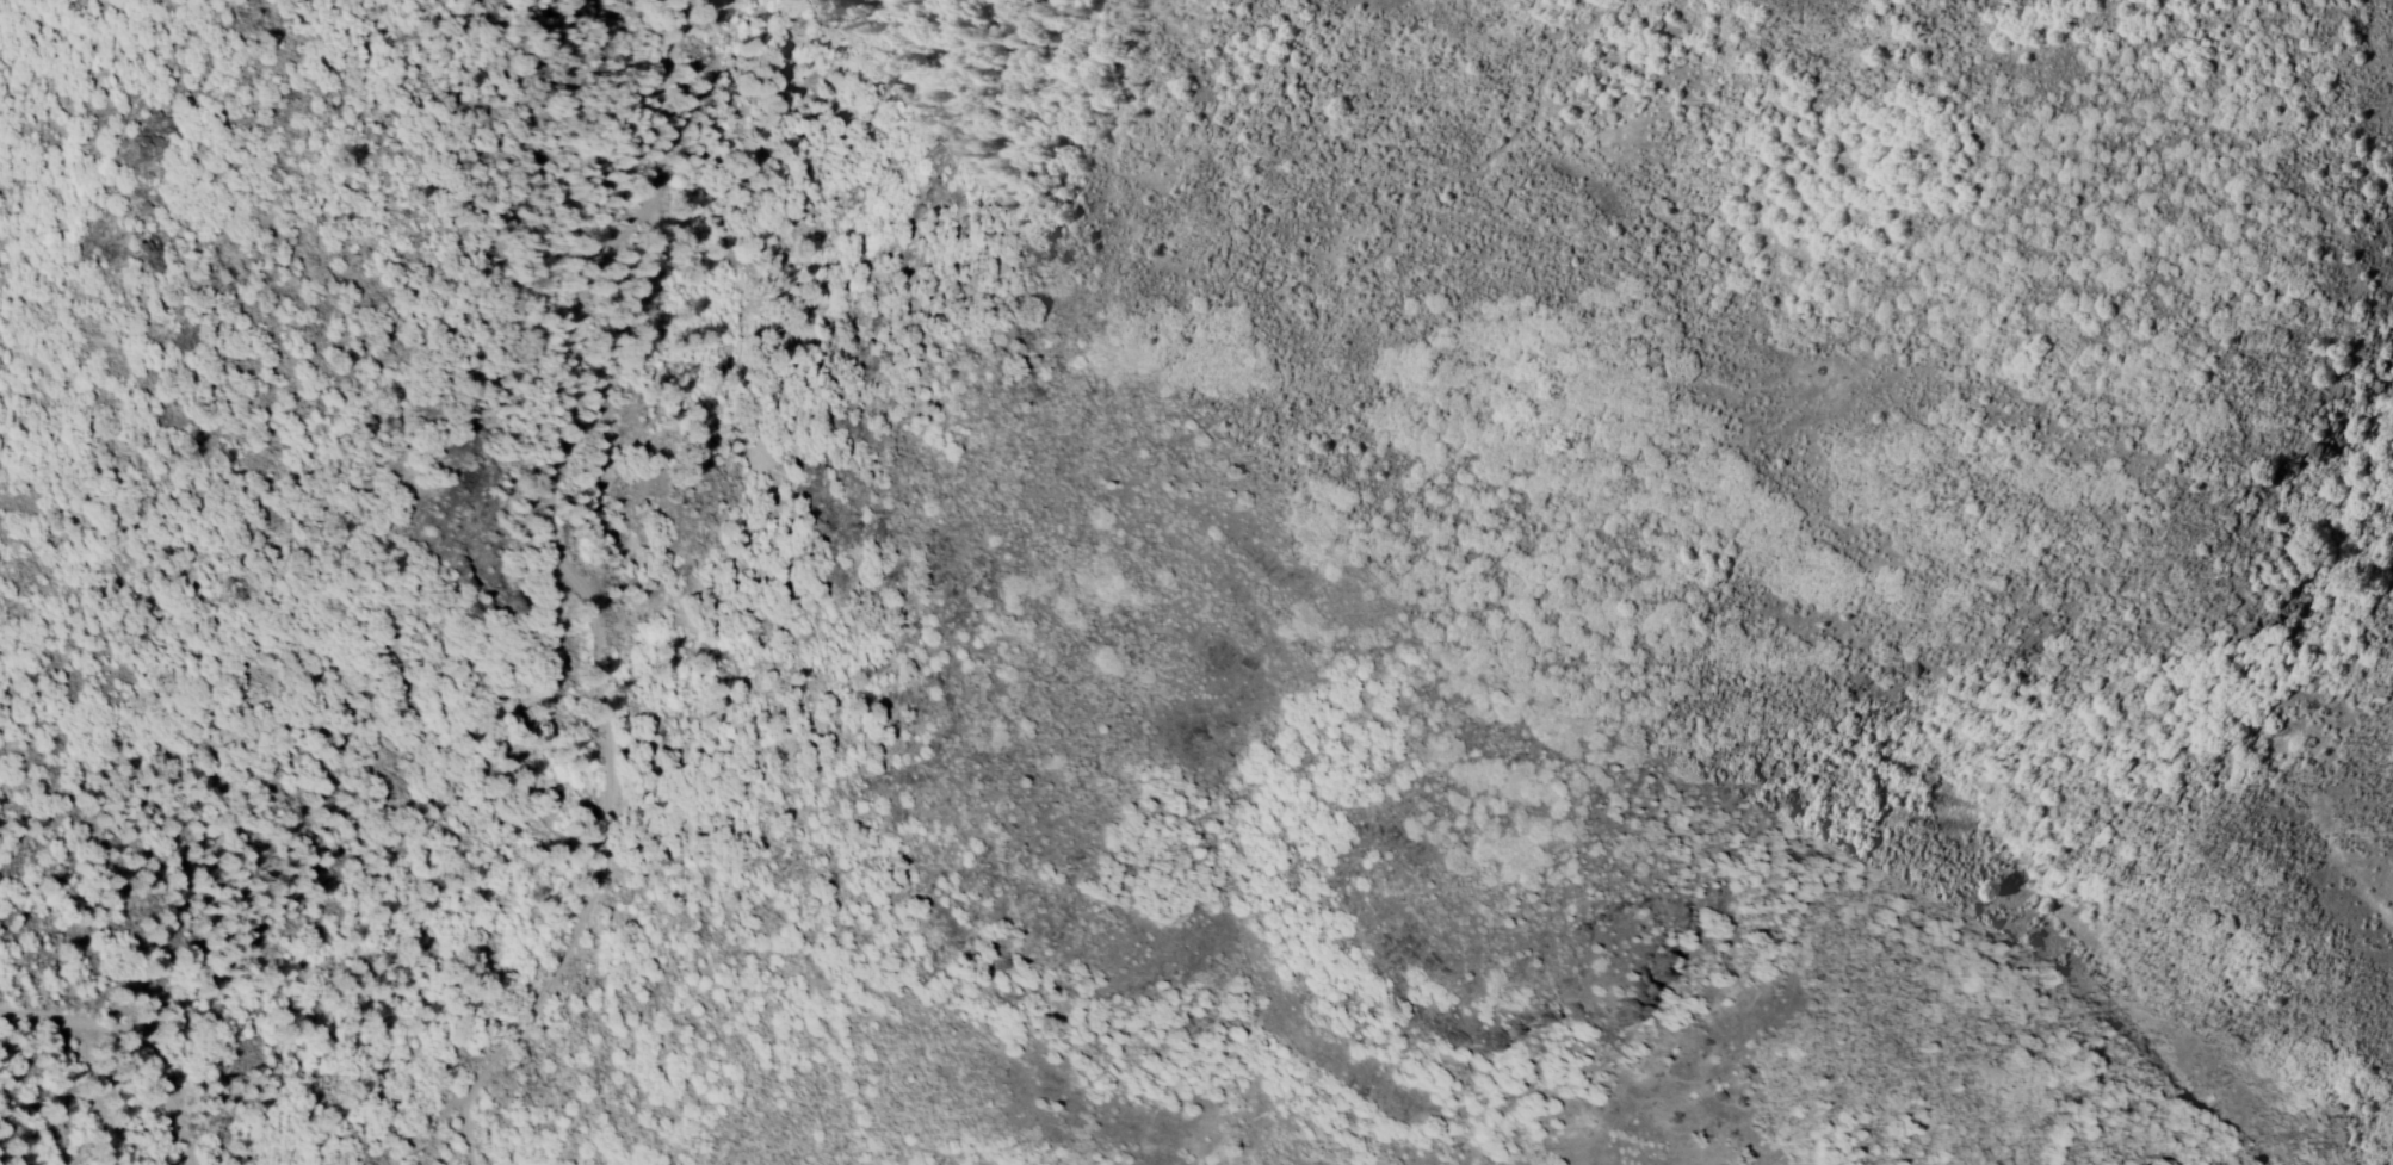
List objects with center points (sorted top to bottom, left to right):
road: (48, 1021)

